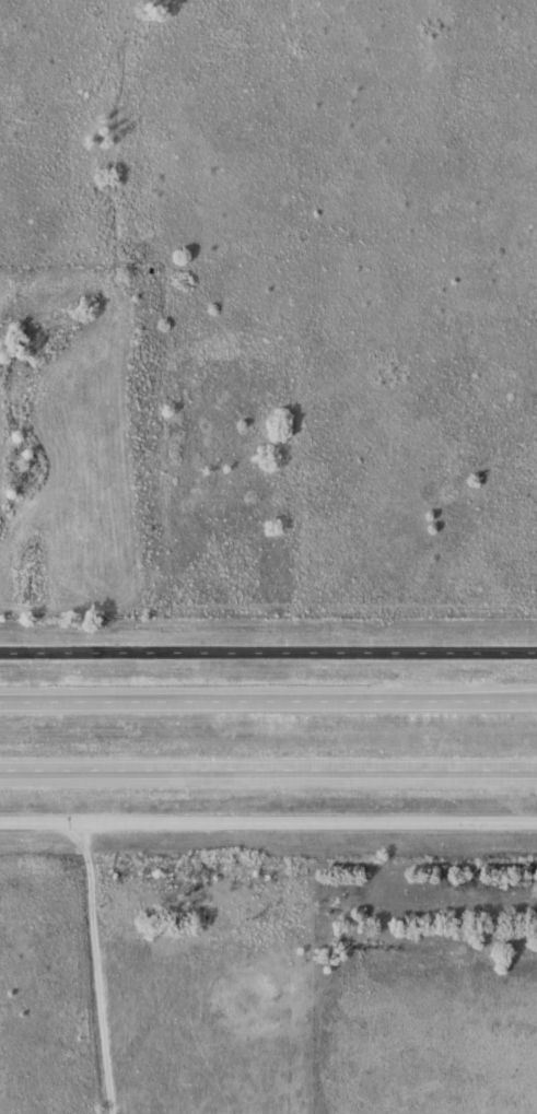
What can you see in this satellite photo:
road: (268, 650)
road: (268, 697)
road: (268, 770)
road: (268, 820)

